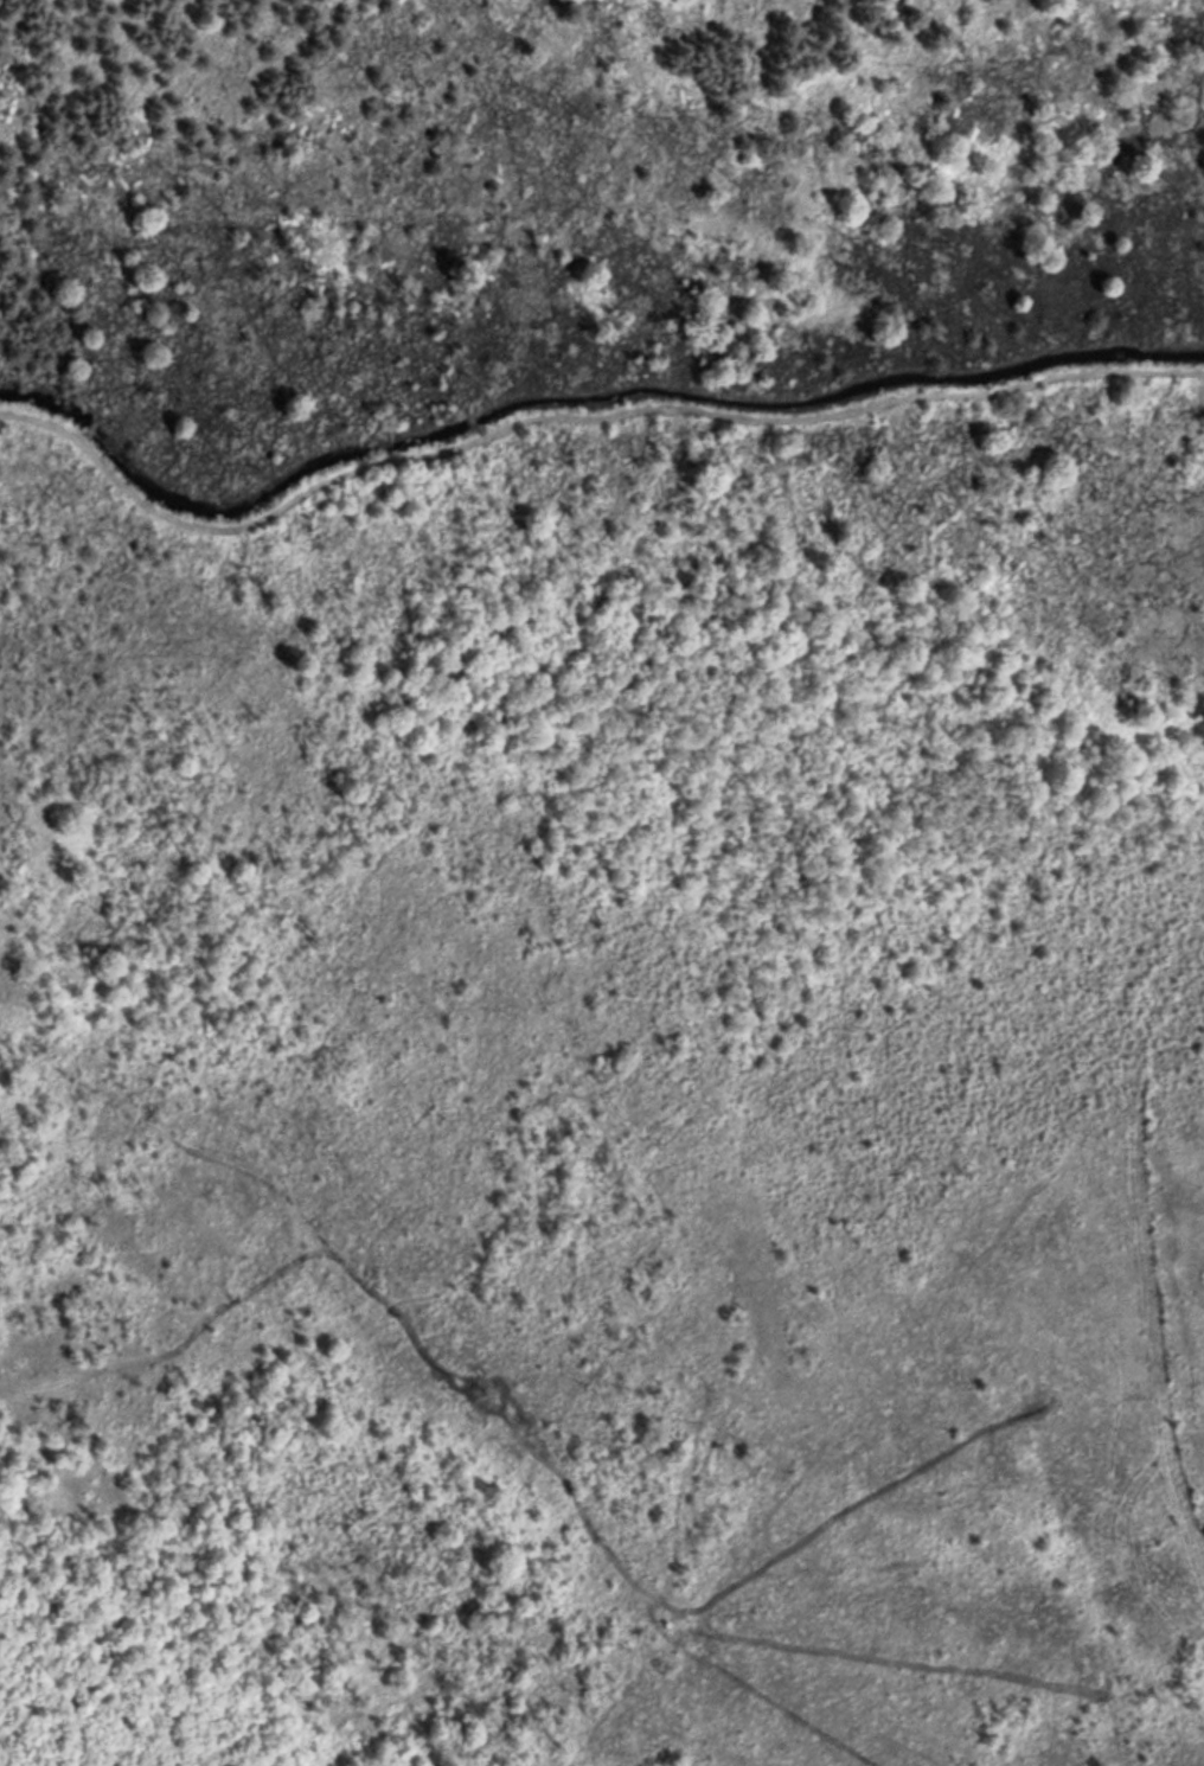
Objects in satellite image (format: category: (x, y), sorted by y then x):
road: (578, 428)

